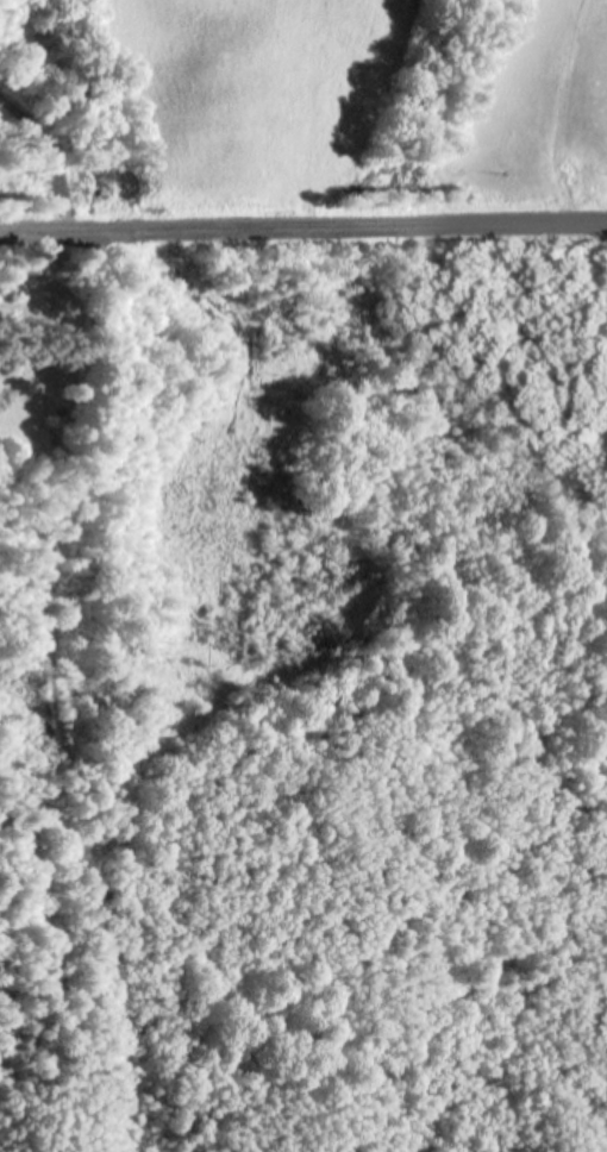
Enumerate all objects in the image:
road: (303, 230)

